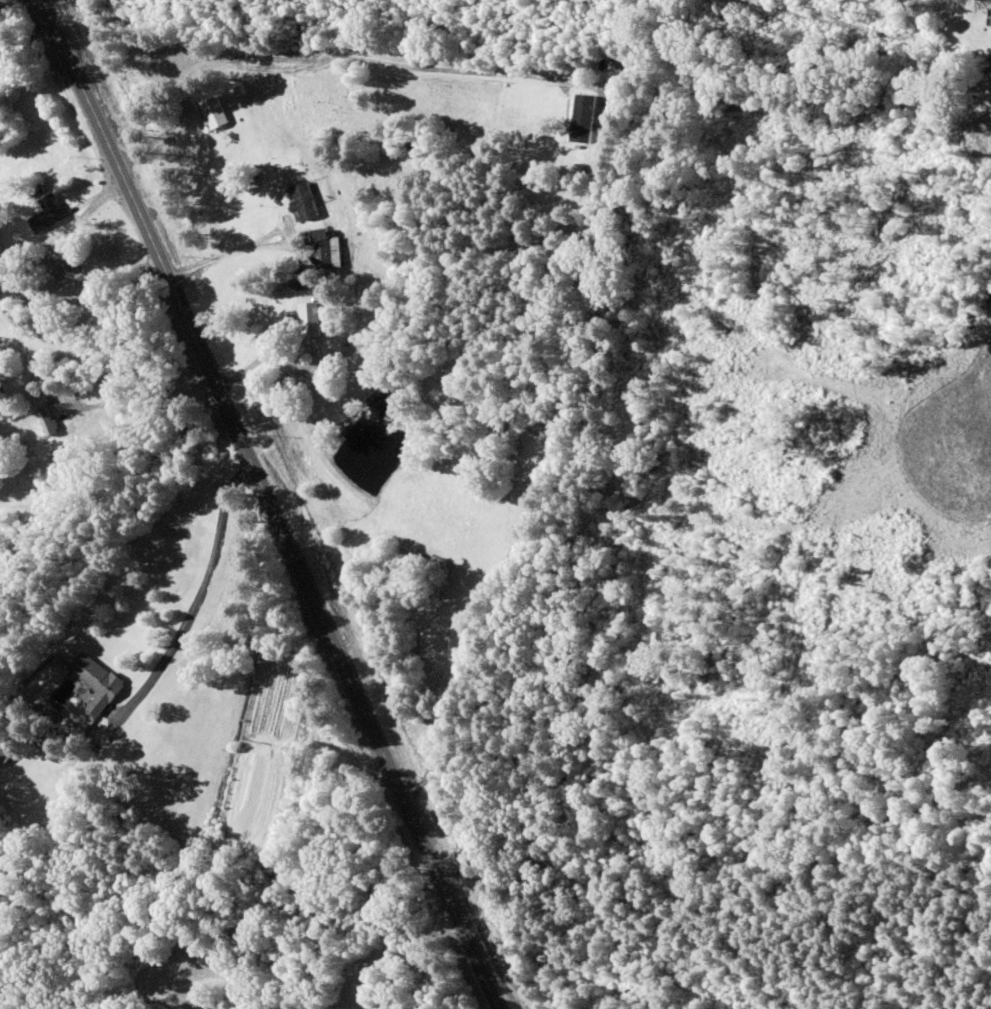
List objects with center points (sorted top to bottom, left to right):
building: (212, 113)
building: (581, 118)
building: (302, 201)
building: (48, 214)
building: (324, 250)
road: (75, 271)
building: (310, 319)
road: (268, 501)
building: (97, 682)

